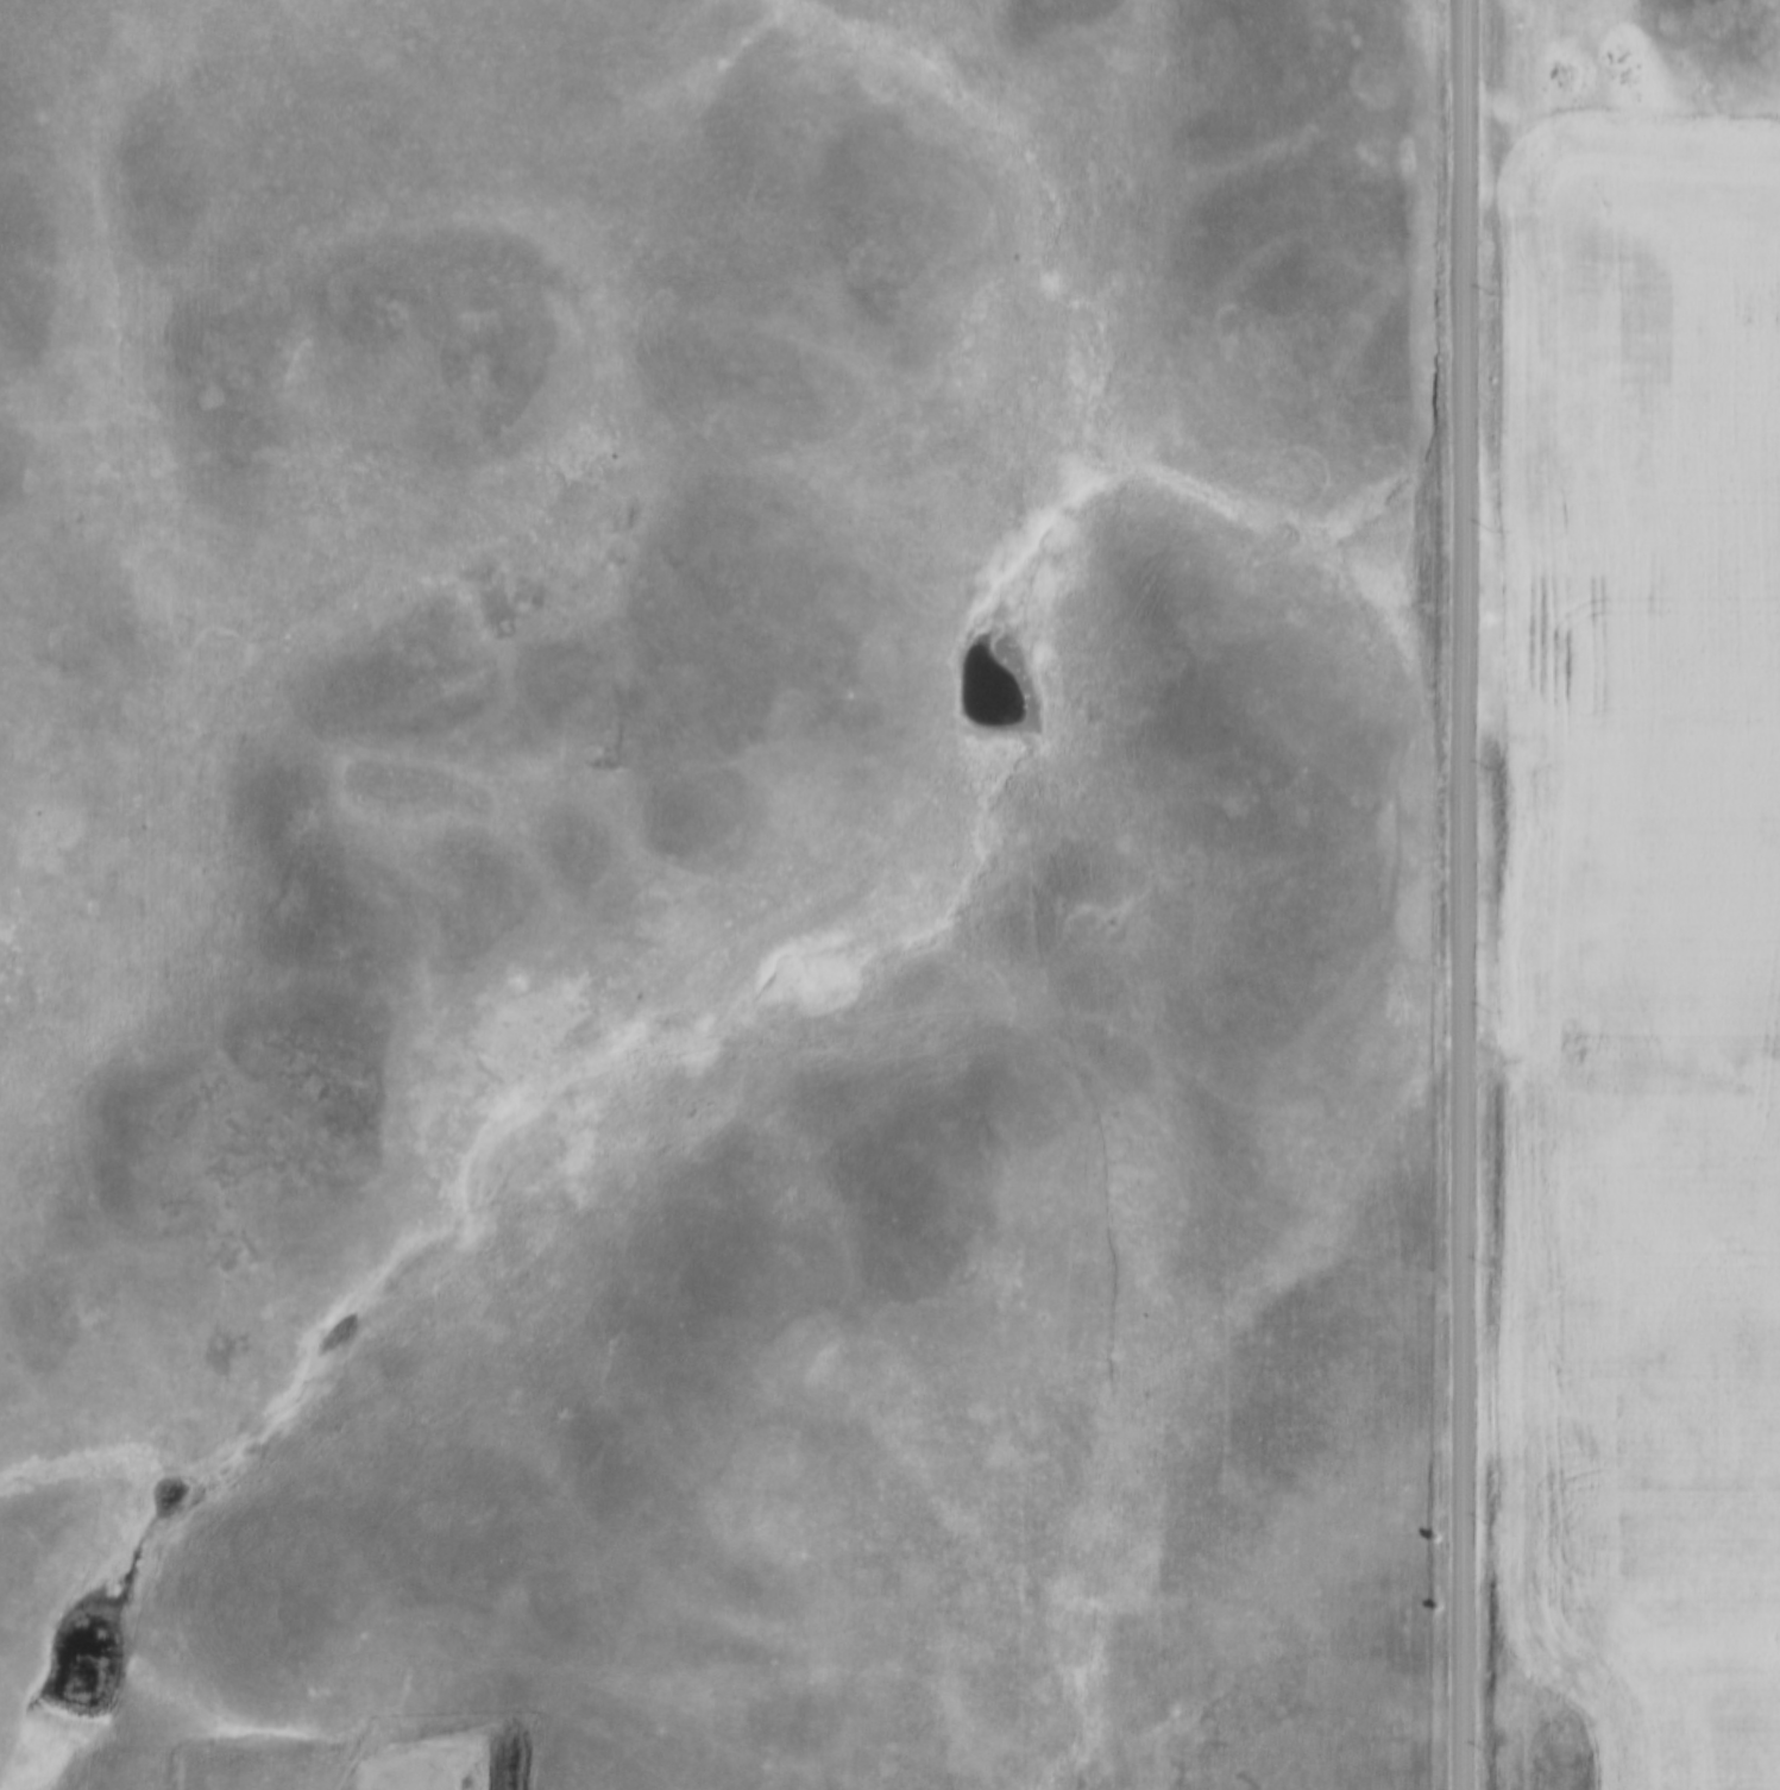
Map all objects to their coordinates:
road: (1465, 894)

